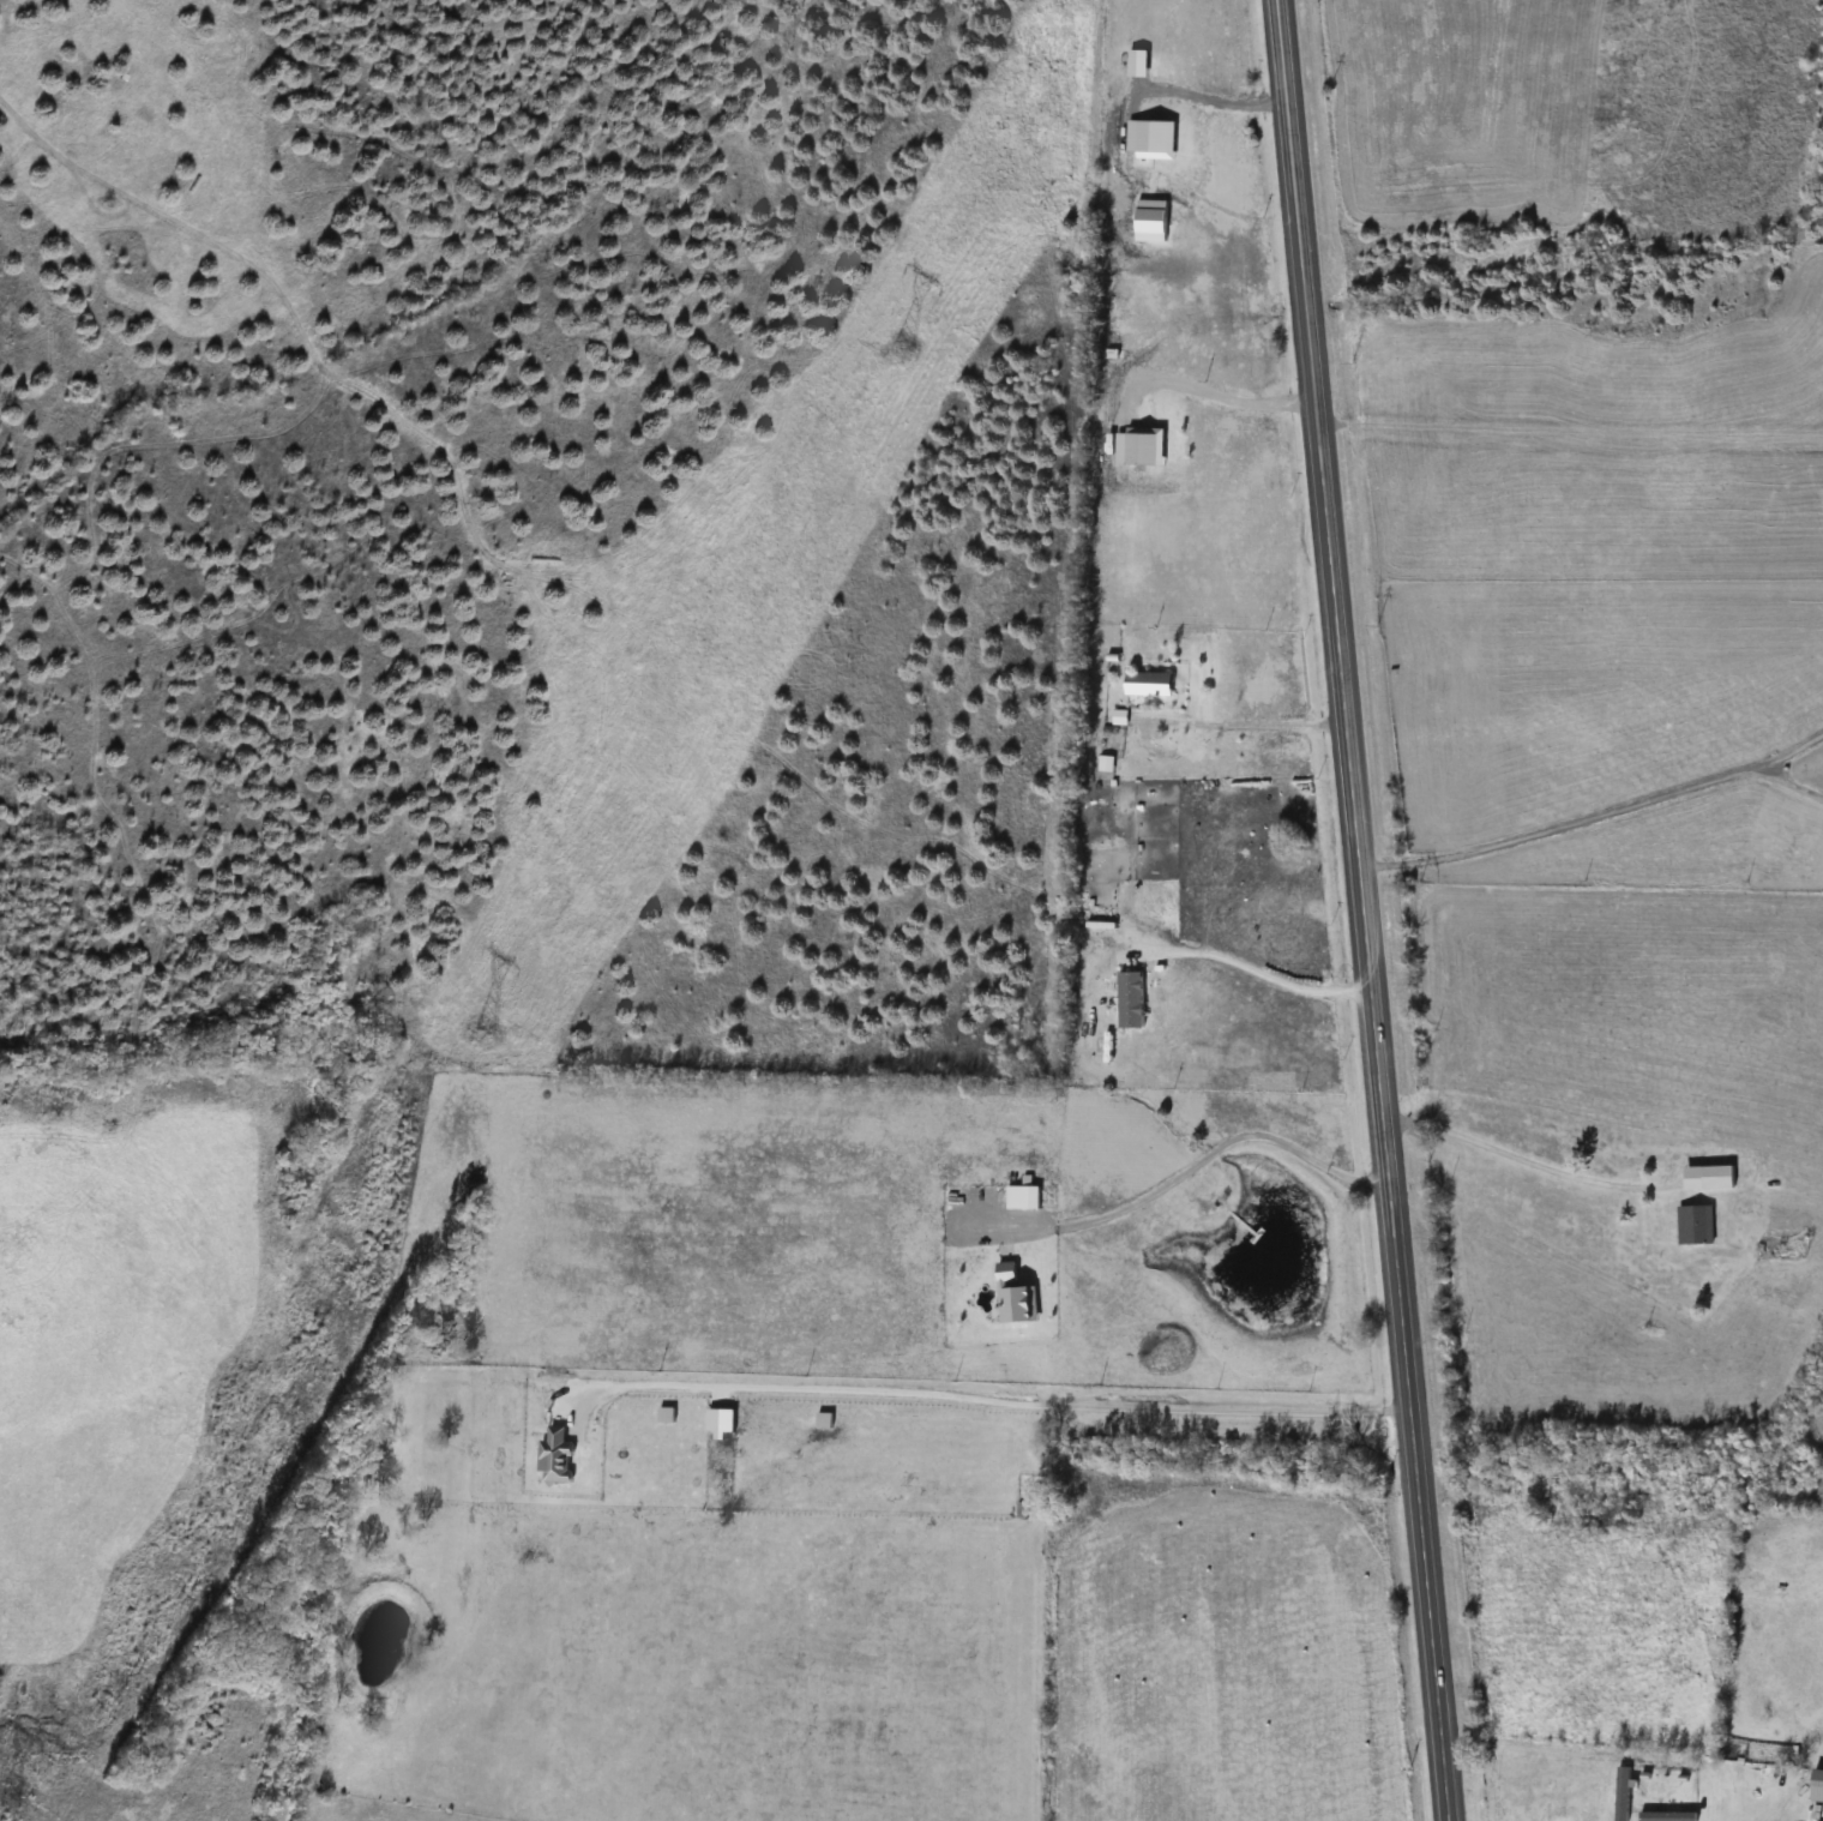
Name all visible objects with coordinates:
road: (1211, 97)
power tower: (904, 348)
road: (1213, 391)
building: (1150, 685)
road: (1247, 721)
road: (1365, 910)
road: (1258, 968)
power tower: (483, 1028)
road: (1524, 1156)
road: (1179, 1174)
building: (1031, 1197)
building: (1696, 1225)
building: (1017, 1296)
road: (988, 1398)
building: (1818, 1786)
power tower: (7, 1804)

